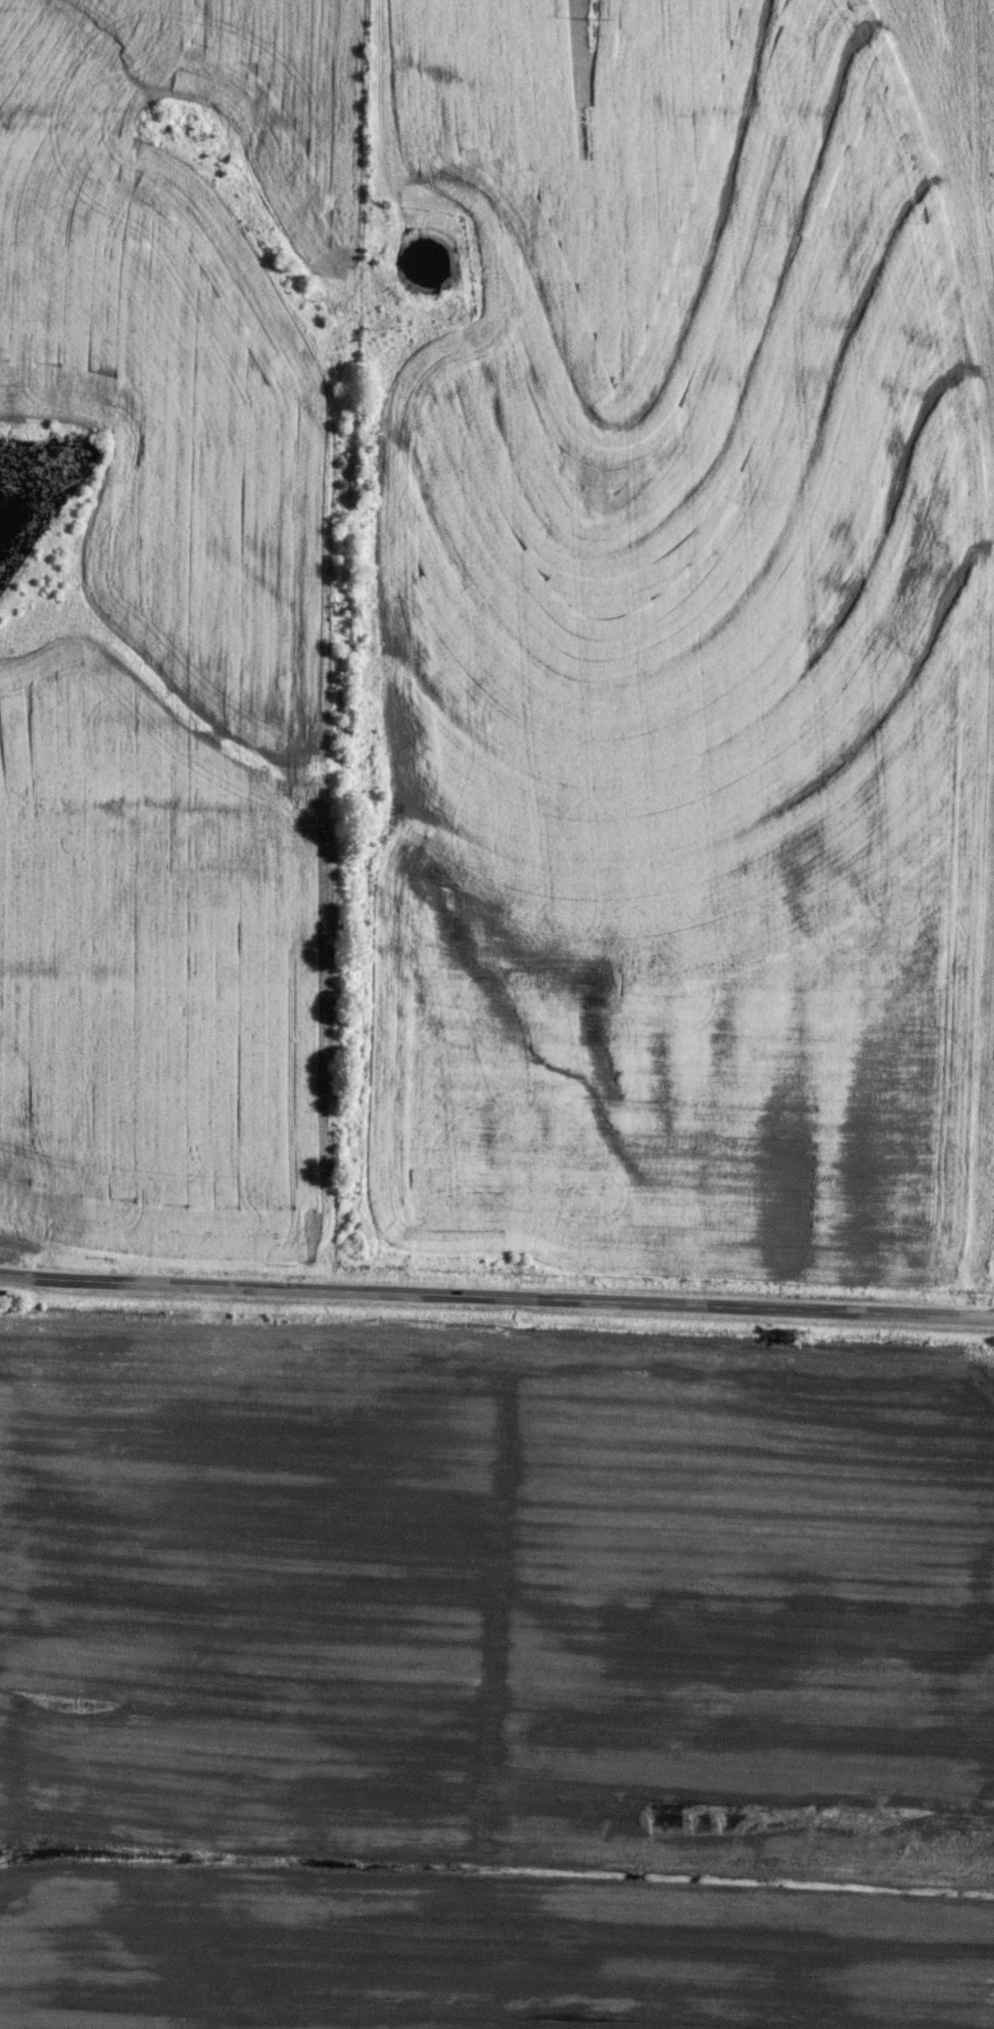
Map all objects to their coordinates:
road: (496, 1300)

